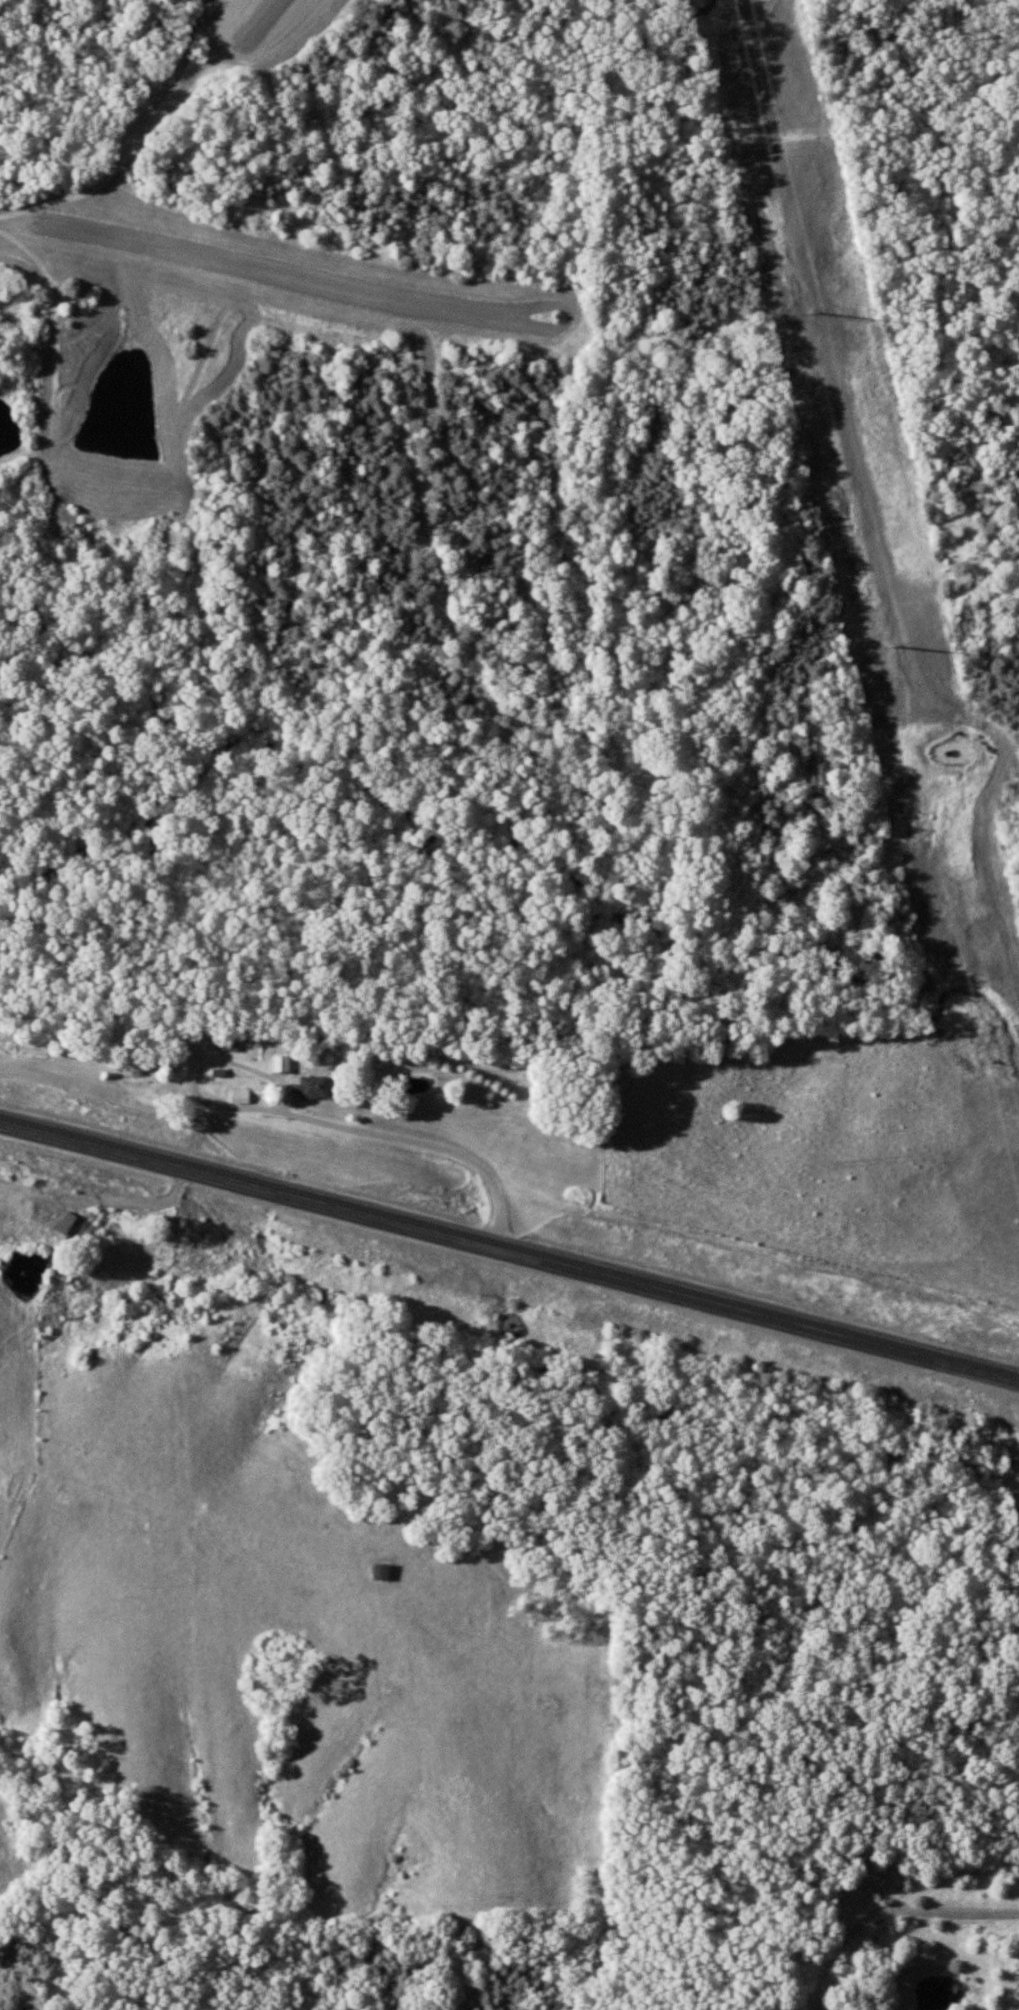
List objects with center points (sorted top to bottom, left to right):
power tower: (809, 308)
power tower: (892, 646)
road: (229, 1059)
building: (185, 1061)
building: (279, 1063)
building: (134, 1065)
building: (236, 1095)
road: (425, 1142)
road: (145, 1198)
road: (509, 1248)

